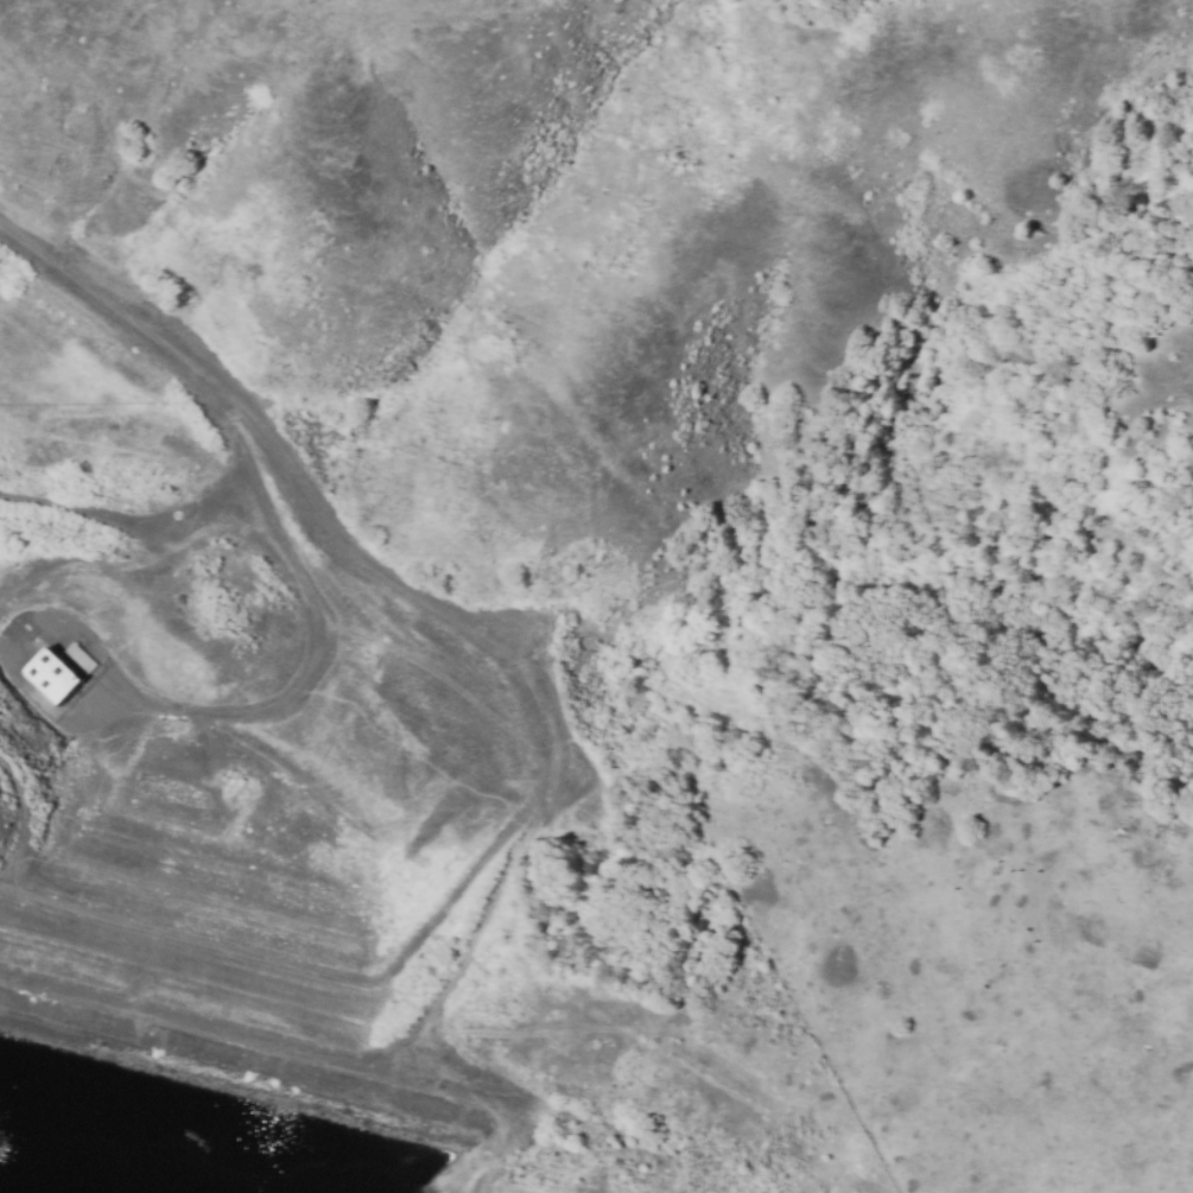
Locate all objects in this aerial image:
road: (245, 405)
road: (218, 411)
road: (145, 570)
road: (317, 665)
building: (58, 672)
dam: (250, 1099)

